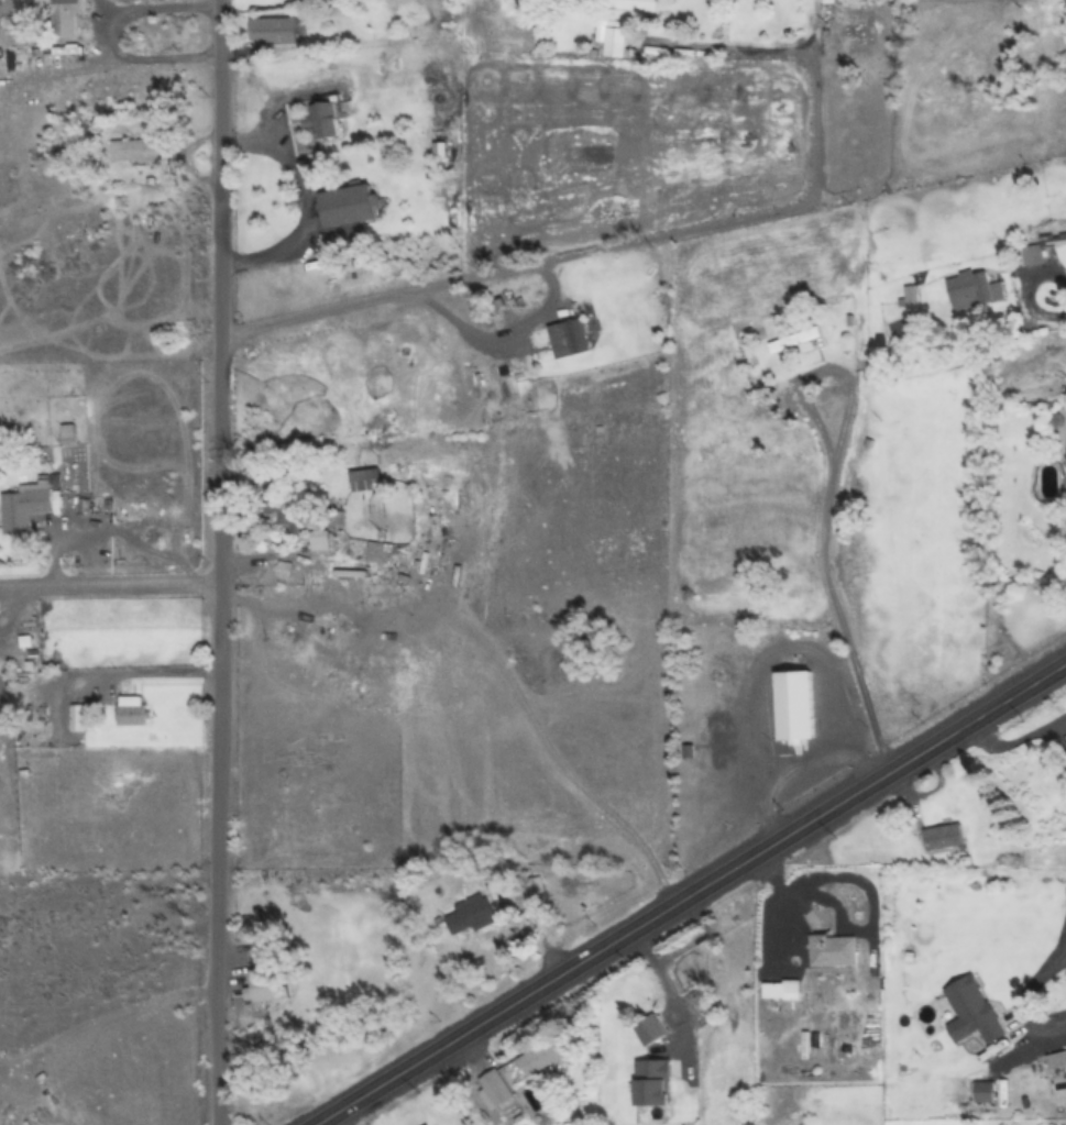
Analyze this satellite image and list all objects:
building: (828, 1)
building: (631, 5)
building: (64, 18)
building: (272, 32)
building: (620, 42)
building: (323, 120)
building: (135, 150)
building: (440, 150)
building: (1052, 241)
road: (592, 253)
building: (968, 288)
building: (574, 337)
building: (798, 341)
building: (69, 433)
building: (364, 479)
building: (283, 498)
building: (22, 508)
road: (217, 562)
road: (108, 586)
road: (858, 671)
building: (793, 706)
building: (131, 710)
building: (942, 837)
building: (531, 886)
road: (692, 893)
building: (469, 914)
building: (833, 950)
building: (693, 963)
crop: (816, 970)
building: (265, 985)
building: (649, 1029)
building: (1049, 1047)
building: (541, 1057)
building: (495, 1089)
building: (427, 1124)

